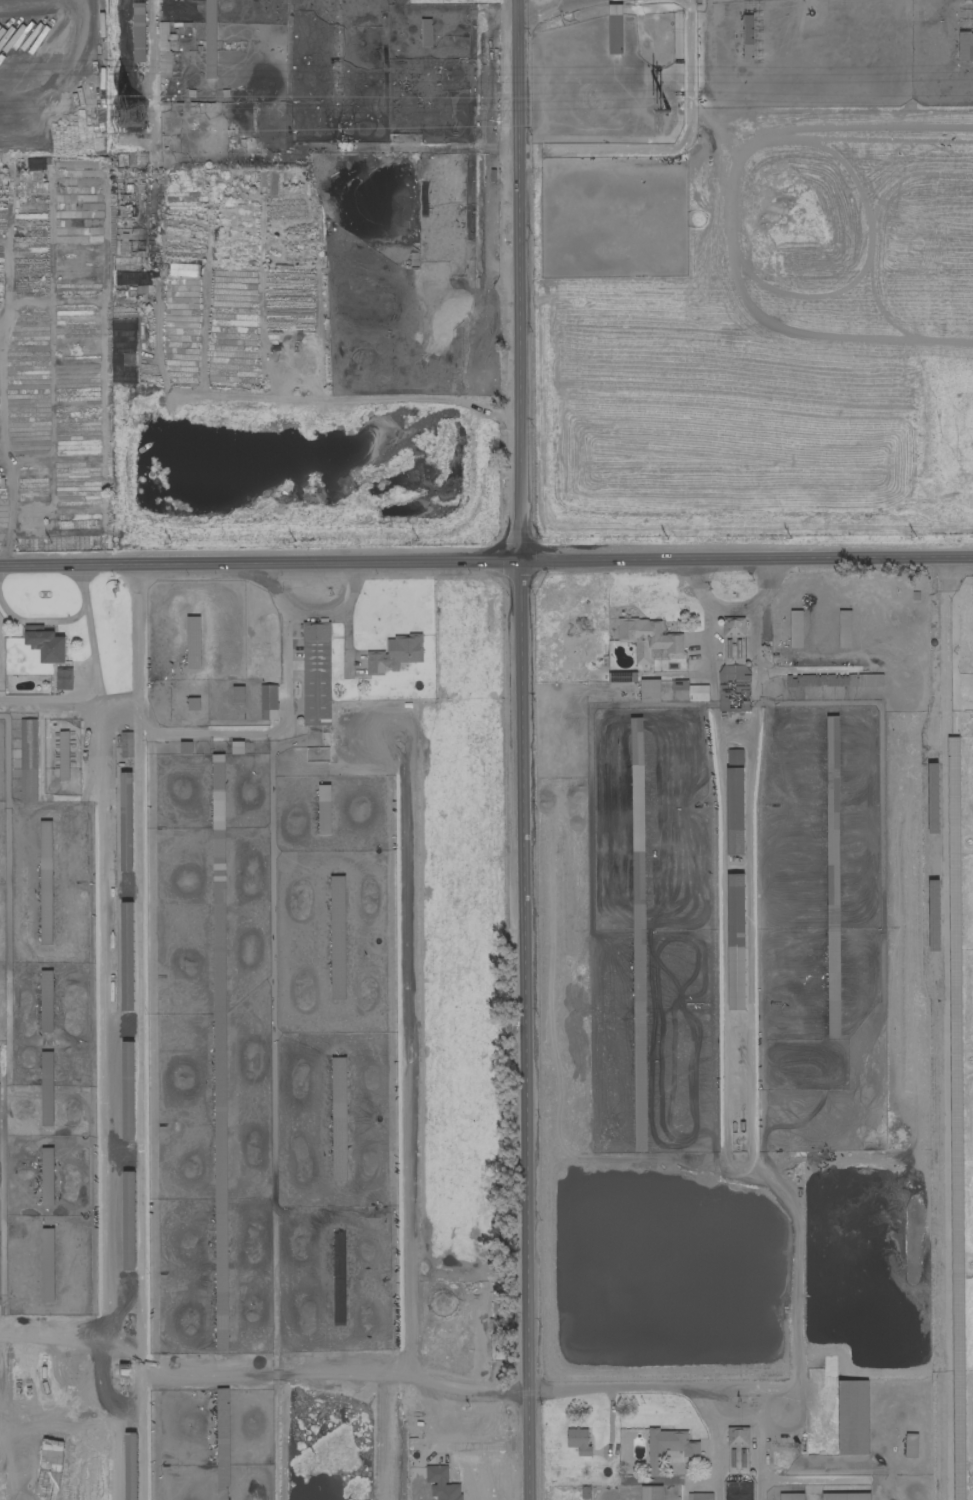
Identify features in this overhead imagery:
road: (23, 0)
road: (570, 4)
road: (537, 13)
building: (209, 24)
building: (614, 28)
building: (138, 32)
building: (163, 44)
building: (965, 45)
road: (66, 64)
power tower: (669, 112)
power tower: (135, 117)
road: (675, 149)
road: (486, 560)
road: (316, 609)
road: (729, 609)
road: (48, 621)
building: (795, 628)
building: (844, 628)
building: (648, 639)
building: (193, 642)
building: (45, 643)
building: (394, 654)
road: (98, 655)
building: (316, 673)
building: (63, 678)
building: (864, 679)
building: (799, 680)
building: (649, 690)
building: (697, 692)
building: (723, 695)
road: (71, 699)
building: (268, 701)
road: (192, 724)
building: (832, 739)
road: (524, 749)
building: (28, 760)
building: (734, 800)
building: (954, 911)
building: (337, 937)
building: (735, 941)
building: (127, 956)
building: (46, 1000)
road: (147, 1047)
building: (46, 1088)
building: (128, 1090)
building: (640, 1112)
building: (338, 1118)
building: (128, 1220)
building: (47, 1264)
building: (497, 1303)
road: (340, 1367)
road: (644, 1386)
building: (853, 1417)
building: (578, 1440)
road: (481, 1442)
building: (668, 1445)
building: (910, 1445)
building: (736, 1448)
building: (442, 1483)
building: (737, 1491)
building: (651, 1492)
building: (699, 1496)
building: (790, 1496)
building: (844, 1496)

